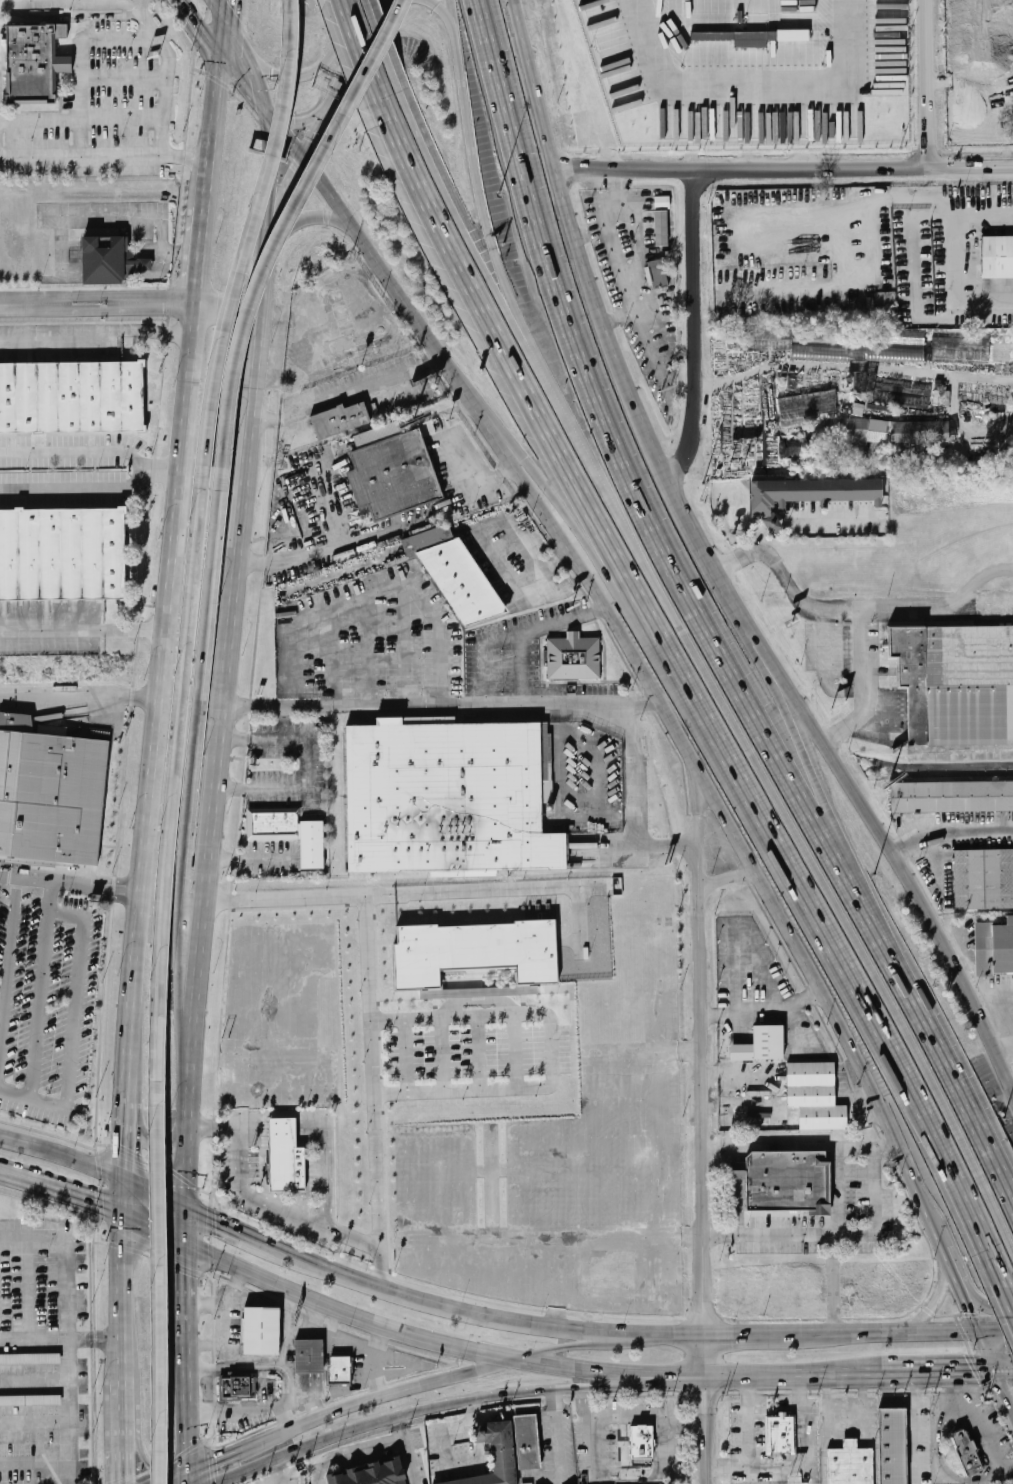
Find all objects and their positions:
road: (139, 3)
road: (220, 8)
road: (226, 8)
road: (444, 13)
building: (1009, 16)
road: (452, 18)
building: (955, 21)
traffic signals: (199, 26)
road: (150, 29)
road: (201, 30)
road: (224, 38)
road: (241, 41)
road: (384, 41)
road: (360, 51)
road: (357, 54)
building: (31, 63)
road: (239, 64)
building: (63, 65)
road: (326, 65)
traffic signals: (273, 74)
road: (930, 83)
road: (246, 87)
road: (263, 90)
road: (165, 107)
road: (301, 121)
road: (214, 130)
road: (317, 132)
traffic signals: (271, 143)
road: (105, 156)
road: (785, 168)
traffic signals: (295, 172)
road: (271, 178)
road: (478, 187)
road: (284, 197)
road: (456, 210)
road: (770, 213)
road: (310, 218)
building: (662, 222)
road: (288, 224)
road: (254, 233)
road: (365, 244)
road: (200, 253)
road: (958, 253)
building: (996, 257)
building: (102, 258)
road: (618, 261)
building: (138, 262)
road: (914, 271)
building: (657, 274)
road: (269, 276)
road: (97, 303)
road: (230, 307)
building: (341, 325)
road: (697, 327)
road: (96, 331)
road: (493, 350)
building: (960, 351)
road: (260, 353)
road: (839, 367)
road: (226, 388)
road: (347, 391)
building: (72, 394)
building: (863, 400)
building: (339, 419)
building: (852, 424)
road: (74, 452)
road: (180, 466)
road: (160, 471)
building: (396, 475)
road: (634, 478)
road: (542, 479)
road: (74, 489)
building: (809, 493)
road: (825, 518)
road: (773, 525)
road: (478, 534)
road: (762, 538)
road: (237, 550)
road: (325, 551)
building: (63, 554)
road: (713, 564)
building: (463, 581)
road: (386, 589)
road: (941, 609)
road: (847, 610)
road: (83, 639)
road: (520, 639)
building: (573, 658)
road: (164, 662)
road: (521, 671)
building: (956, 683)
road: (80, 696)
road: (161, 697)
road: (442, 703)
road: (221, 740)
road: (310, 766)
road: (174, 785)
road: (772, 788)
road: (822, 789)
road: (190, 791)
building: (51, 795)
building: (951, 796)
building: (449, 797)
road: (633, 800)
building: (289, 831)
road: (698, 831)
road: (952, 839)
road: (249, 859)
road: (751, 861)
road: (724, 879)
building: (984, 879)
road: (71, 885)
road: (143, 893)
road: (399, 894)
road: (824, 930)
road: (203, 945)
building: (994, 948)
building: (478, 950)
road: (8, 963)
road: (781, 991)
road: (39, 1005)
road: (75, 1012)
road: (765, 1016)
building: (761, 1044)
road: (550, 1049)
road: (946, 1059)
road: (374, 1092)
building: (815, 1096)
road: (134, 1100)
road: (159, 1128)
road: (801, 1143)
road: (131, 1144)
road: (66, 1154)
traffic signals: (131, 1156)
building: (284, 1157)
road: (187, 1160)
building: (736, 1170)
road: (12, 1176)
building: (786, 1180)
road: (161, 1185)
road: (159, 1191)
road: (875, 1192)
road: (703, 1193)
road: (77, 1198)
road: (130, 1198)
road: (259, 1198)
traffic signals: (97, 1206)
traffic signals: (209, 1216)
road: (187, 1224)
road: (159, 1230)
road: (241, 1230)
road: (789, 1235)
road: (835, 1238)
road: (65, 1258)
traffic signals: (189, 1269)
road: (189, 1280)
road: (127, 1297)
road: (1008, 1297)
road: (986, 1301)
road: (441, 1304)
road: (934, 1306)
traffic signals: (972, 1308)
road: (334, 1322)
road: (381, 1324)
building: (261, 1330)
traffic signals: (1002, 1331)
road: (604, 1333)
road: (660, 1333)
road: (932, 1333)
road: (778, 1334)
road: (340, 1337)
road: (81, 1339)
road: (110, 1339)
road: (584, 1339)
road: (545, 1350)
building: (309, 1356)
building: (29, 1358)
road: (162, 1358)
road: (189, 1360)
road: (265, 1368)
road: (1006, 1370)
building: (338, 1371)
road: (943, 1371)
traffic signals: (971, 1371)
road: (374, 1373)
road: (864, 1373)
road: (609, 1375)
road: (737, 1375)
road: (609, 1382)
building: (238, 1386)
road: (1006, 1388)
road: (332, 1392)
road: (395, 1393)
road: (488, 1395)
road: (554, 1395)
building: (30, 1399)
road: (239, 1409)
road: (633, 1417)
road: (400, 1419)
road: (749, 1421)
road: (982, 1424)
road: (125, 1430)
road: (137, 1434)
building: (780, 1435)
road: (70, 1437)
road: (438, 1442)
building: (526, 1442)
building: (641, 1442)
road: (191, 1444)
building: (891, 1445)
road: (559, 1446)
road: (301, 1447)
road: (664, 1447)
road: (350, 1448)
road: (410, 1453)
building: (967, 1453)
building: (493, 1454)
road: (216, 1458)
traffic signals: (214, 1459)
road: (938, 1459)
traffic signals: (149, 1462)
building: (850, 1464)
road: (800, 1466)
road: (161, 1467)
building: (370, 1474)
road: (686, 1476)
traffic signals: (123, 1479)
road: (600, 1481)

